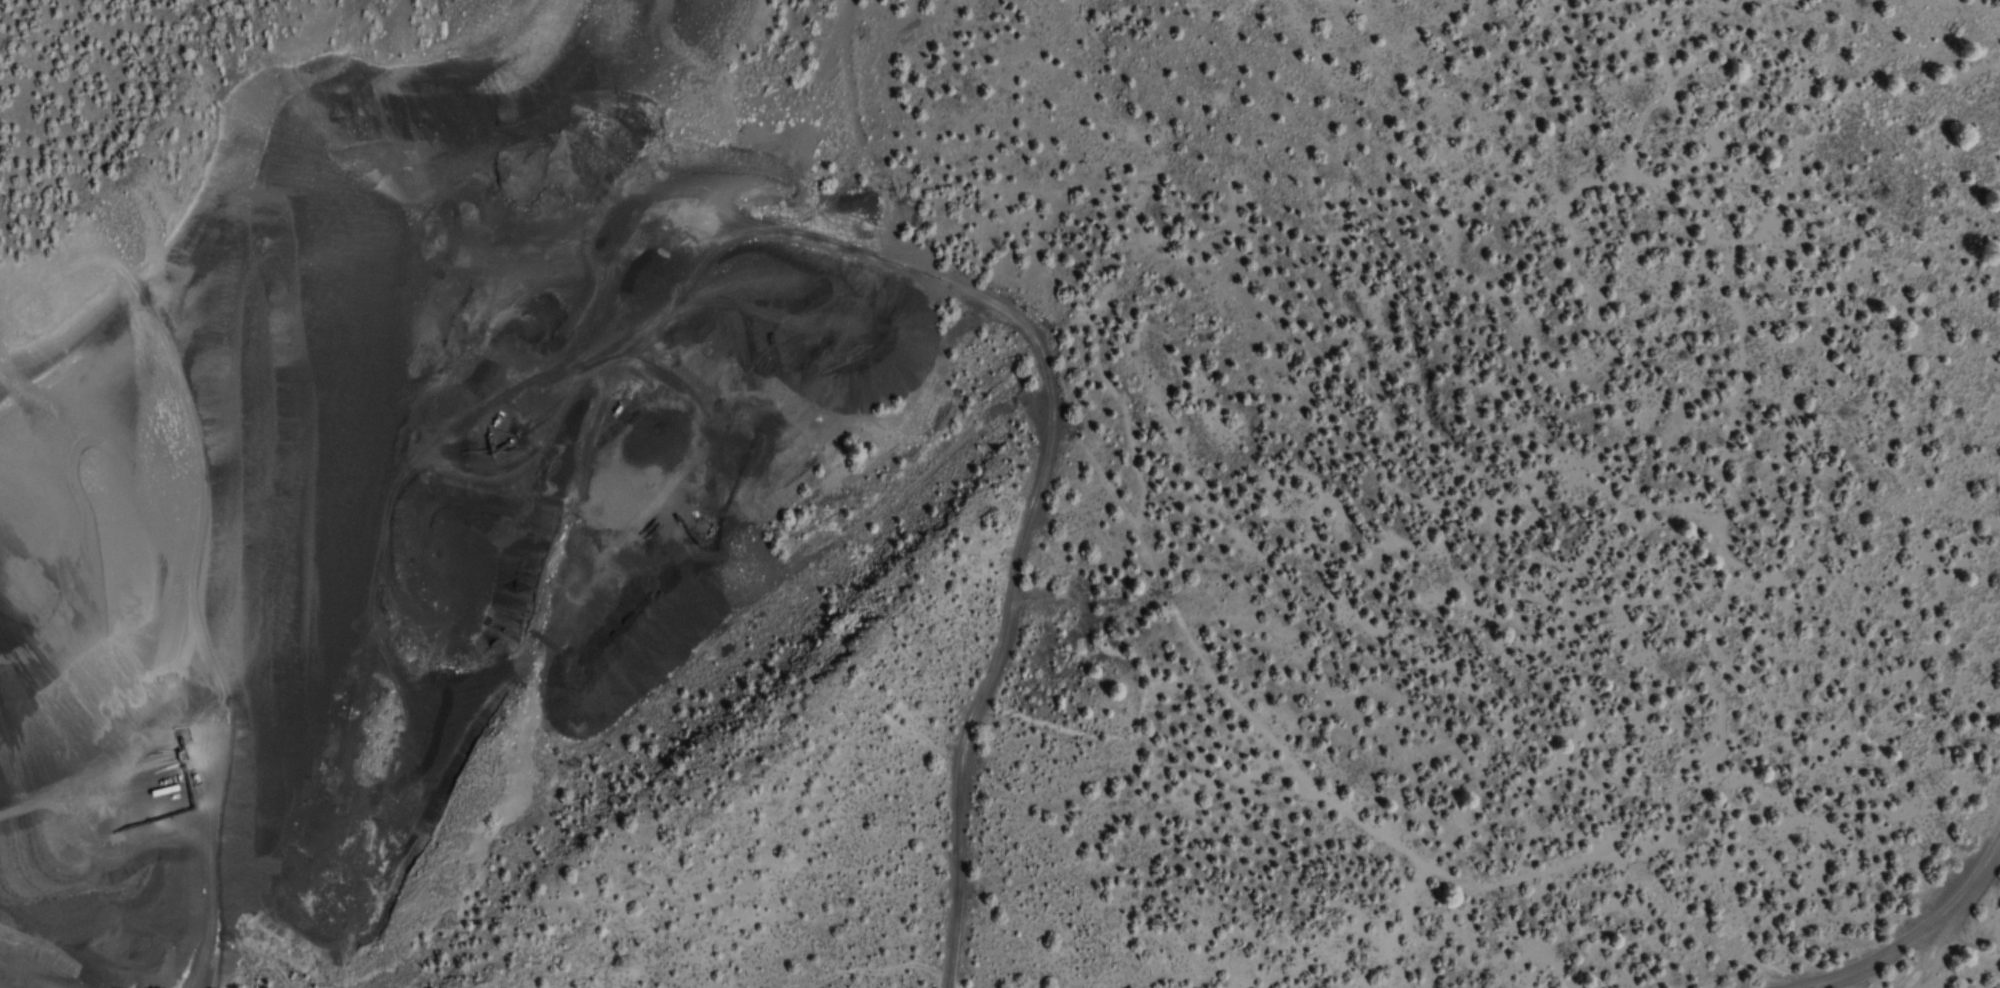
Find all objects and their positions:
road: (734, 26)
road: (1037, 359)
quarry: (454, 455)
road: (1901, 930)
road: (1942, 933)
road: (1969, 950)
road: (34, 970)

